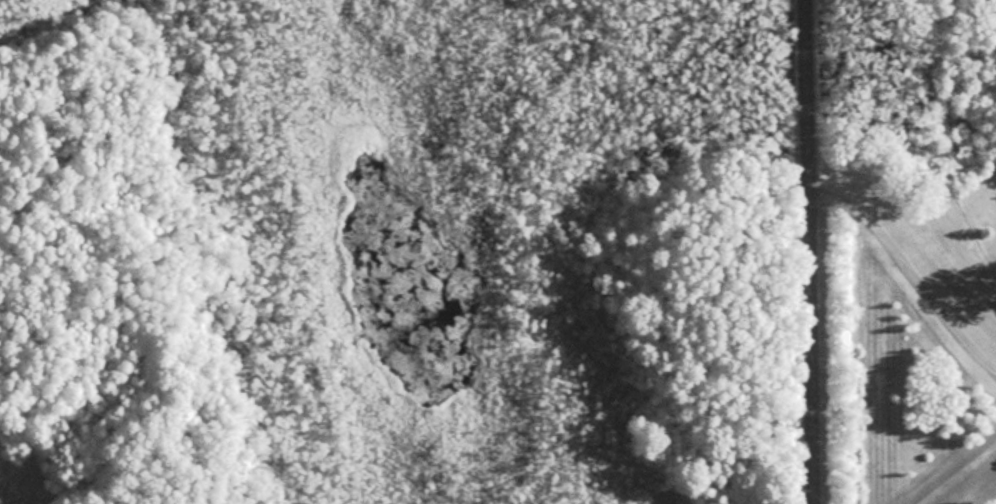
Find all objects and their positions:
road: (807, 252)
road: (909, 258)

